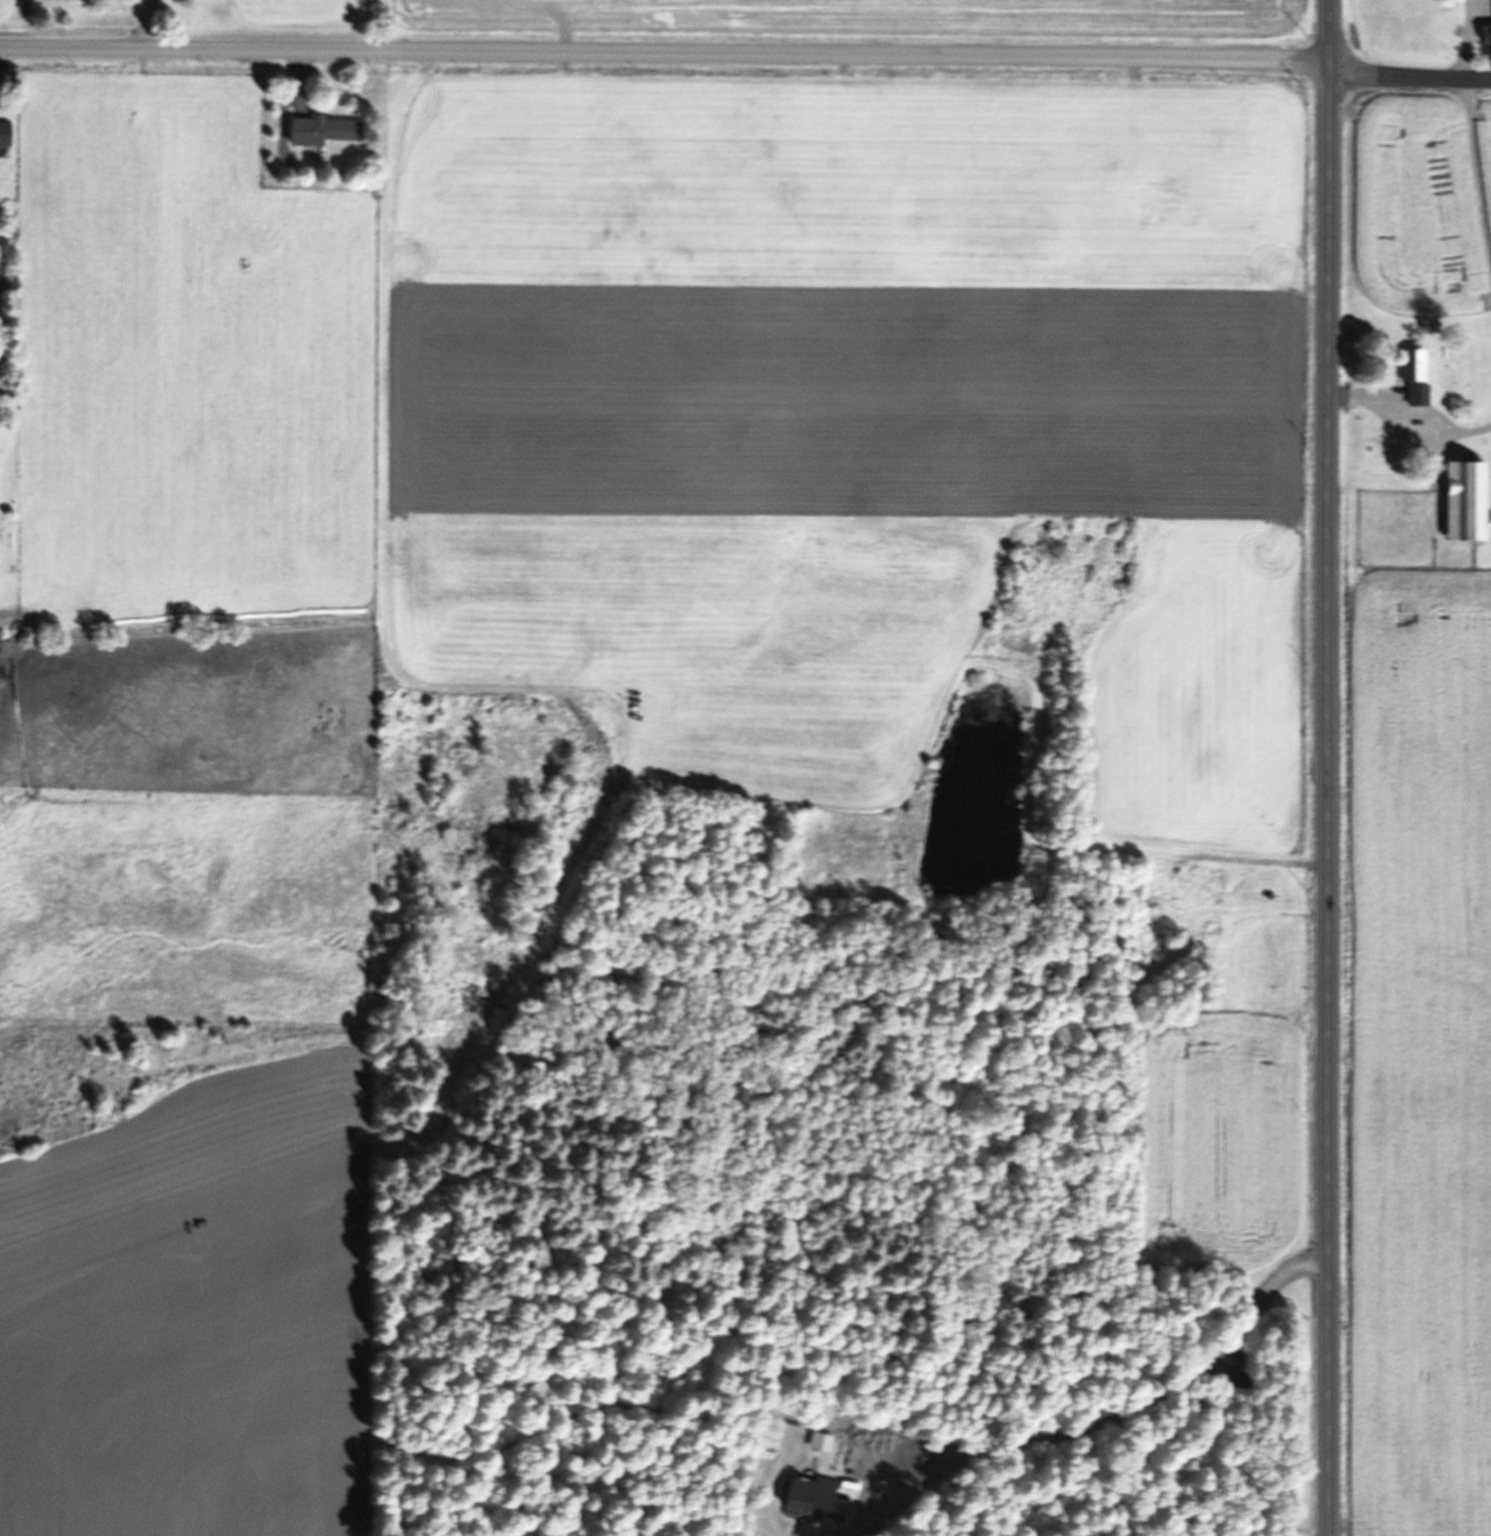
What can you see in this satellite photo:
building: (1485, 35)
road: (664, 52)
road: (1409, 75)
building: (320, 129)
building: (4, 133)
road: (1477, 164)
building: (1412, 374)
building: (1462, 500)
road: (1325, 767)
building: (808, 1493)

